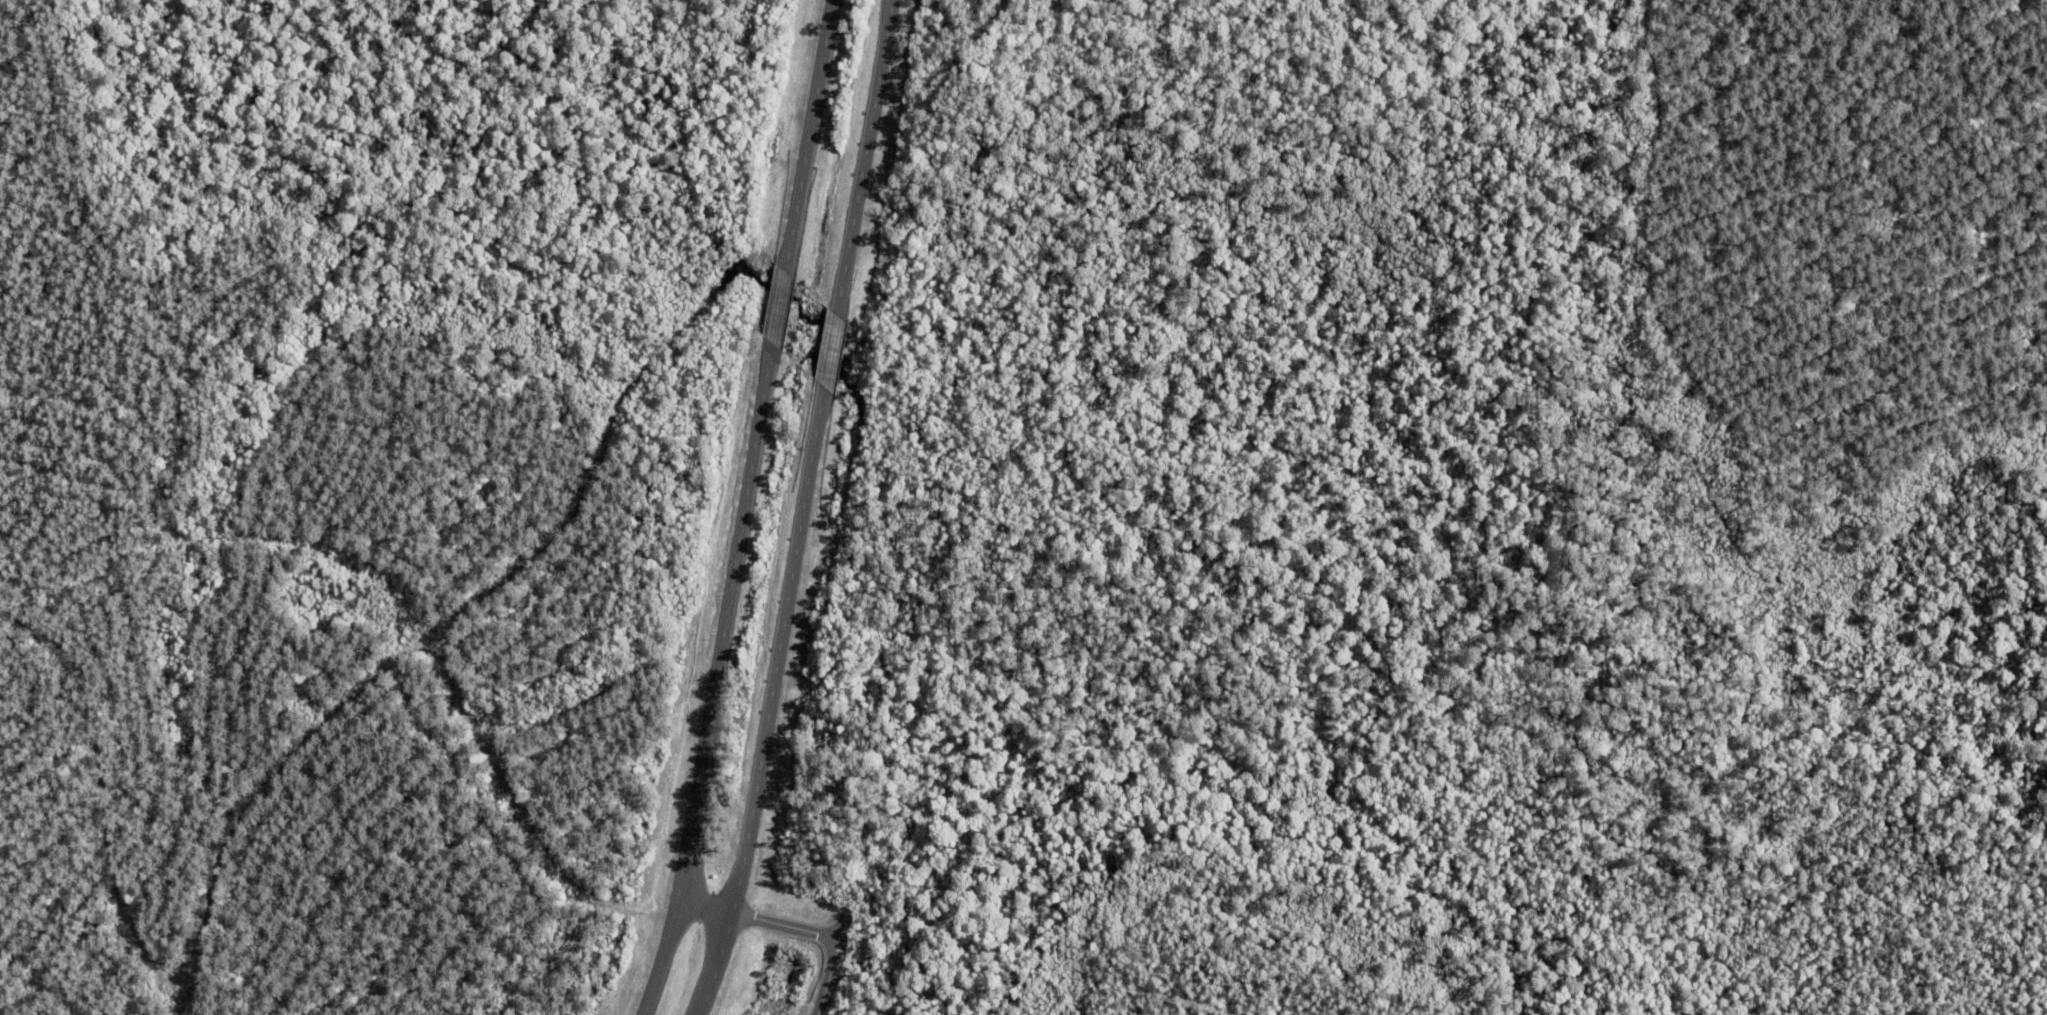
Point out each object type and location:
road: (999, 35)
road: (742, 509)
road: (801, 509)
road: (438, 631)
road: (556, 729)
road: (538, 843)
road: (794, 929)

